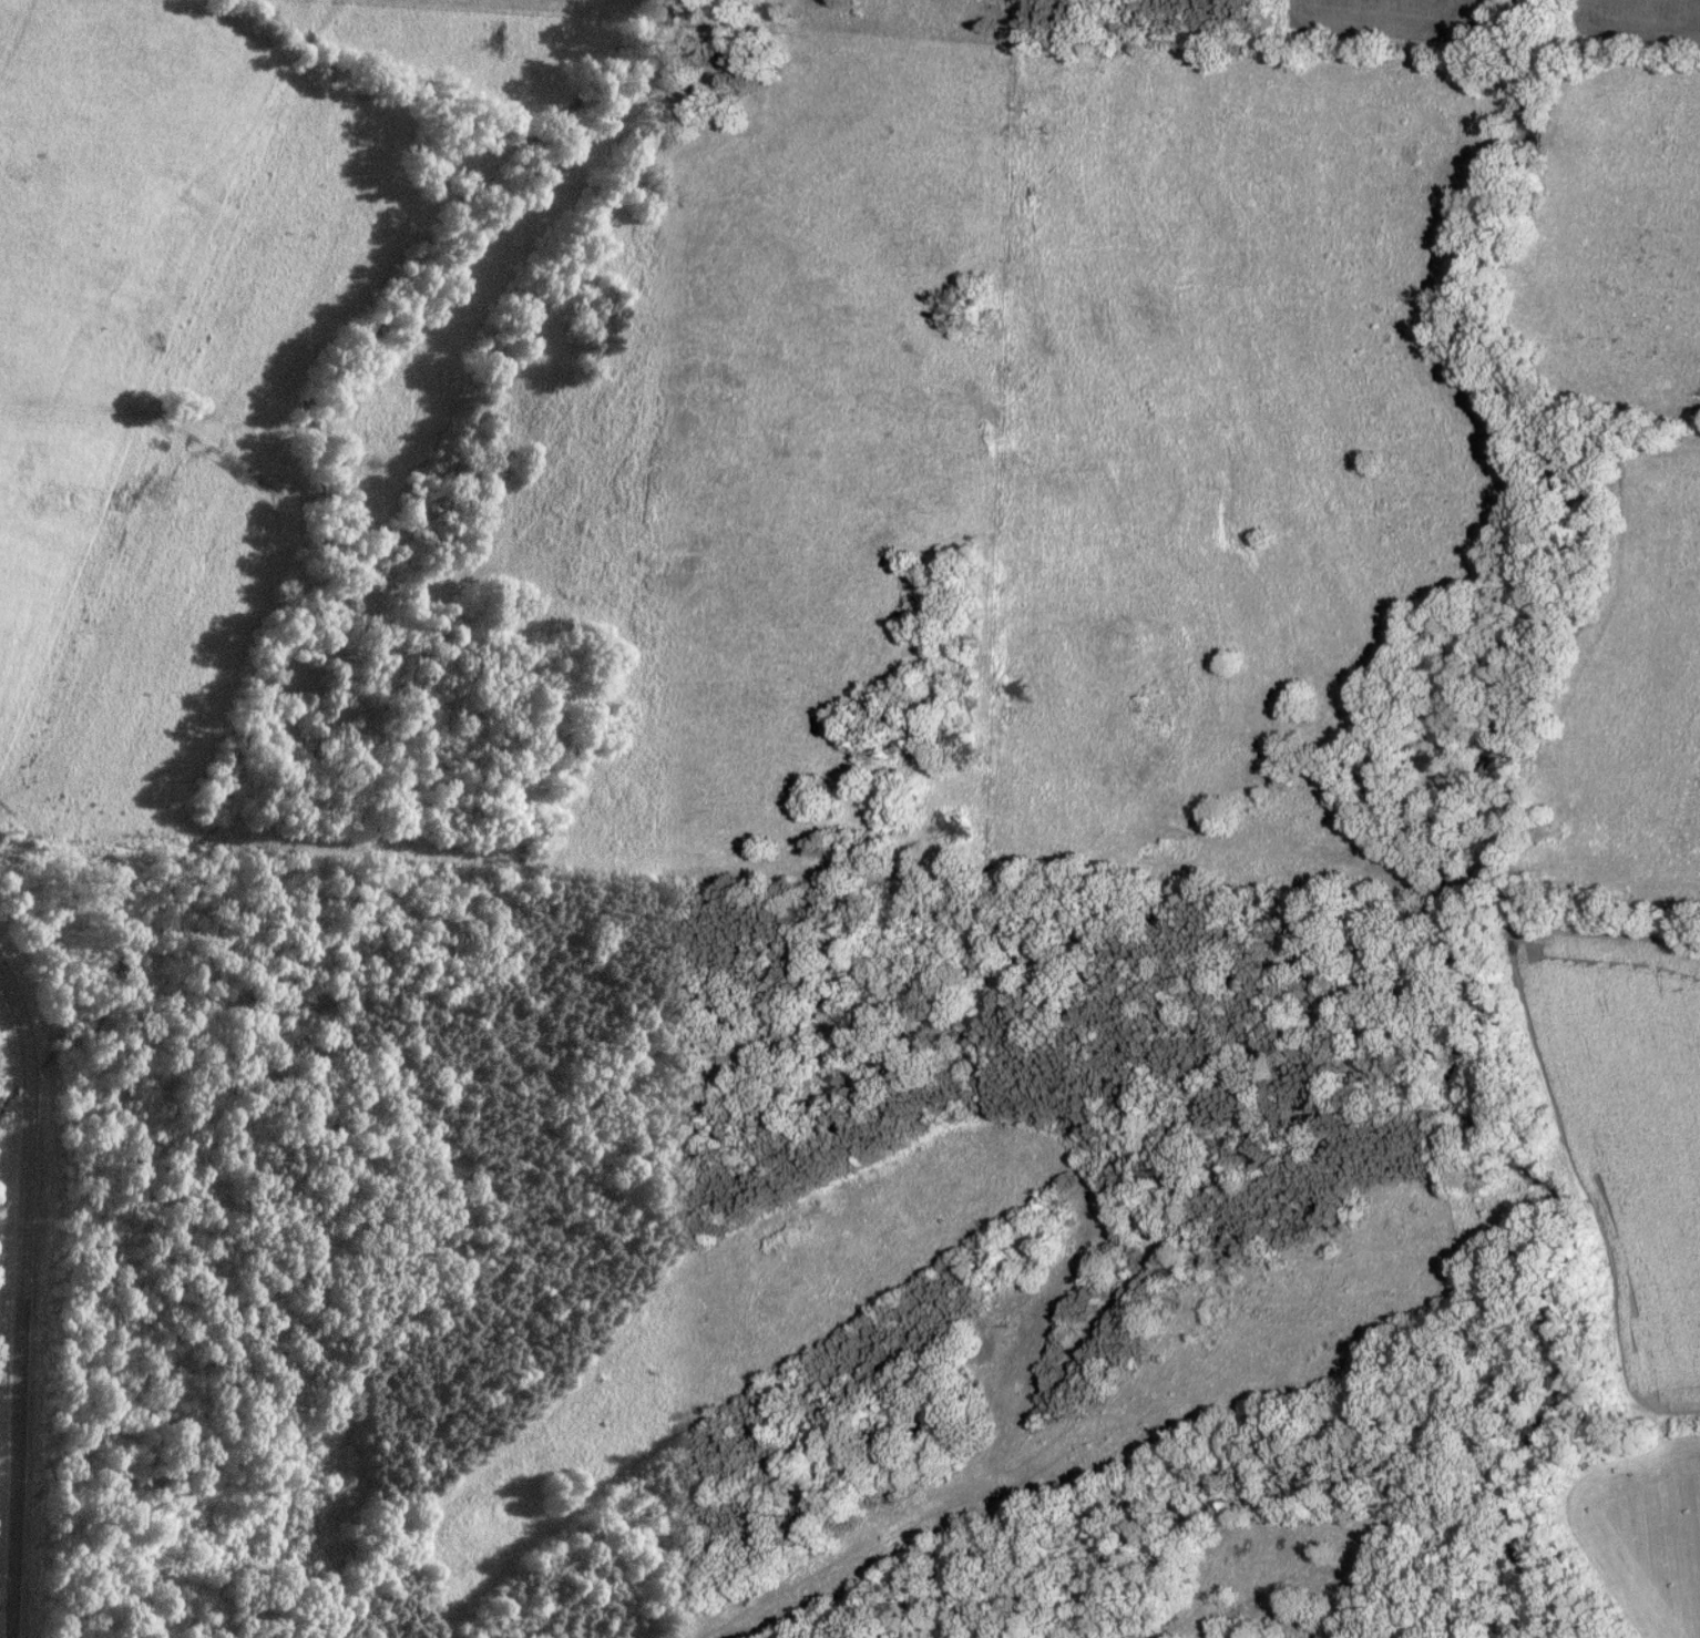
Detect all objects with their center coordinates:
road: (28, 1302)
road: (11, 1605)

